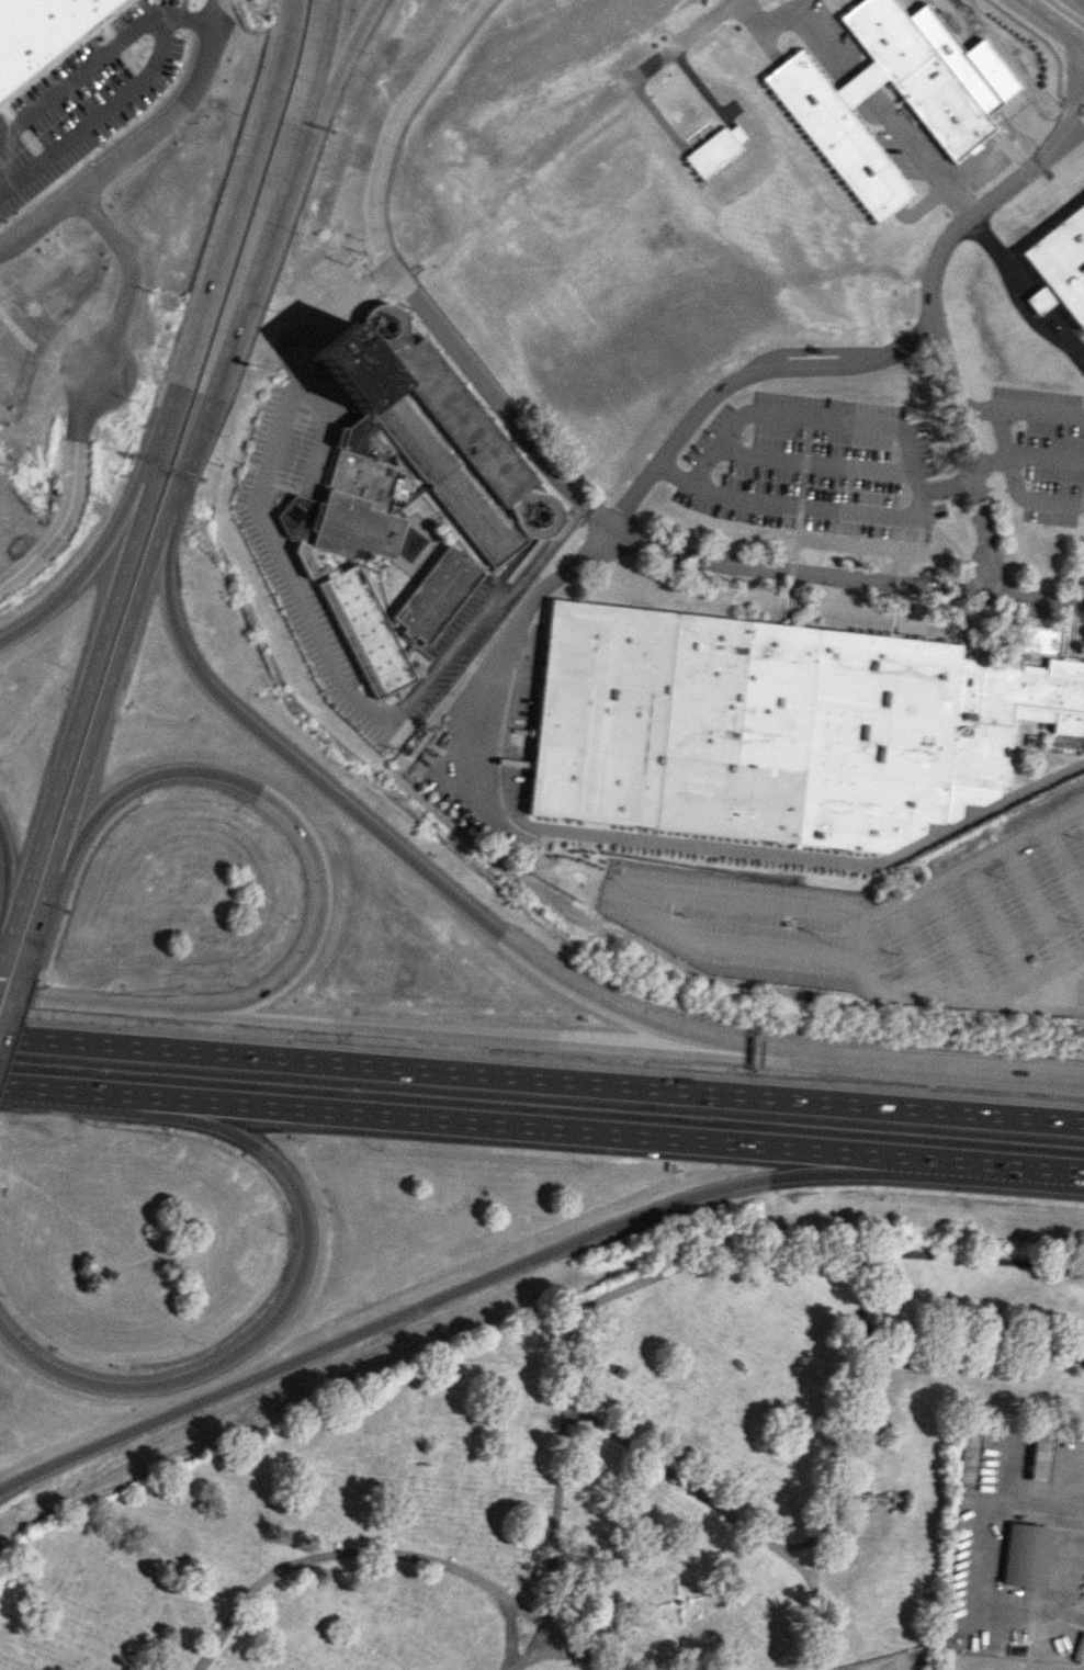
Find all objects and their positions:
road: (727, 1)
road: (218, 3)
road: (1068, 11)
road: (768, 23)
building: (37, 30)
road: (684, 38)
road: (339, 58)
road: (98, 59)
road: (328, 60)
road: (1081, 90)
road: (867, 97)
road: (1073, 117)
building: (950, 119)
road: (395, 124)
road: (1075, 131)
building: (714, 150)
road: (968, 165)
road: (113, 166)
road: (955, 201)
road: (42, 222)
building: (1059, 266)
road: (1017, 295)
road: (245, 309)
road: (940, 339)
road: (106, 349)
road: (744, 375)
road: (488, 393)
road: (1039, 413)
road: (998, 432)
road: (1043, 458)
road: (151, 479)
road: (74, 487)
road: (259, 489)
building: (380, 499)
road: (1028, 503)
road: (816, 507)
parking lot: (314, 541)
road: (89, 564)
road: (832, 575)
building: (434, 595)
road: (481, 608)
building: (776, 725)
road: (92, 736)
road: (281, 804)
road: (597, 833)
road: (394, 845)
road: (1064, 865)
road: (7, 883)
road: (630, 892)
parking lot: (893, 918)
road: (1045, 923)
road: (1005, 933)
road: (858, 937)
road: (955, 941)
road: (913, 948)
road: (1038, 971)
road: (9, 1004)
road: (102, 1006)
road: (490, 1037)
road: (930, 1072)
road: (542, 1079)
road: (66, 1088)
road: (519, 1125)
road: (995, 1164)
road: (659, 1275)
road: (445, 1296)
road: (281, 1310)
road: (855, 1347)
building: (1041, 1457)
park: (589, 1481)
road: (727, 1513)
road: (368, 1551)
building: (1026, 1553)
road: (530, 1612)
road: (562, 1651)
parking lot: (1009, 1662)
road: (985, 1667)

